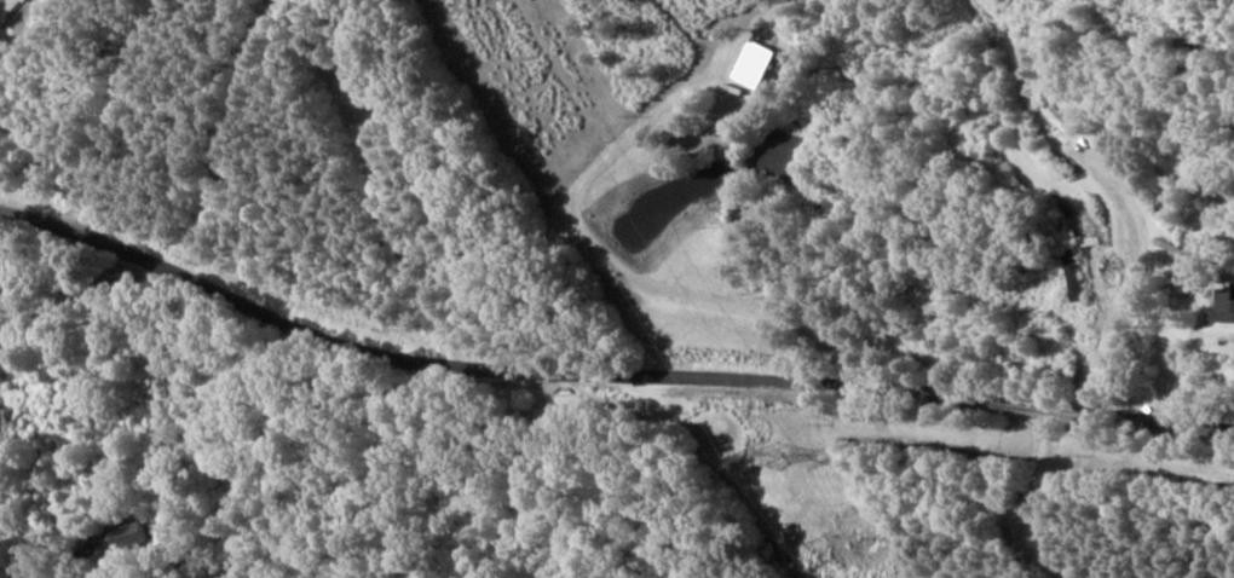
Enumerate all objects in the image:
building: (10, 10)
building: (749, 64)
road: (35, 144)
road: (392, 206)
building: (1069, 273)
building: (1221, 307)
road: (605, 428)
power tower: (768, 450)
road: (743, 508)
building: (127, 537)

